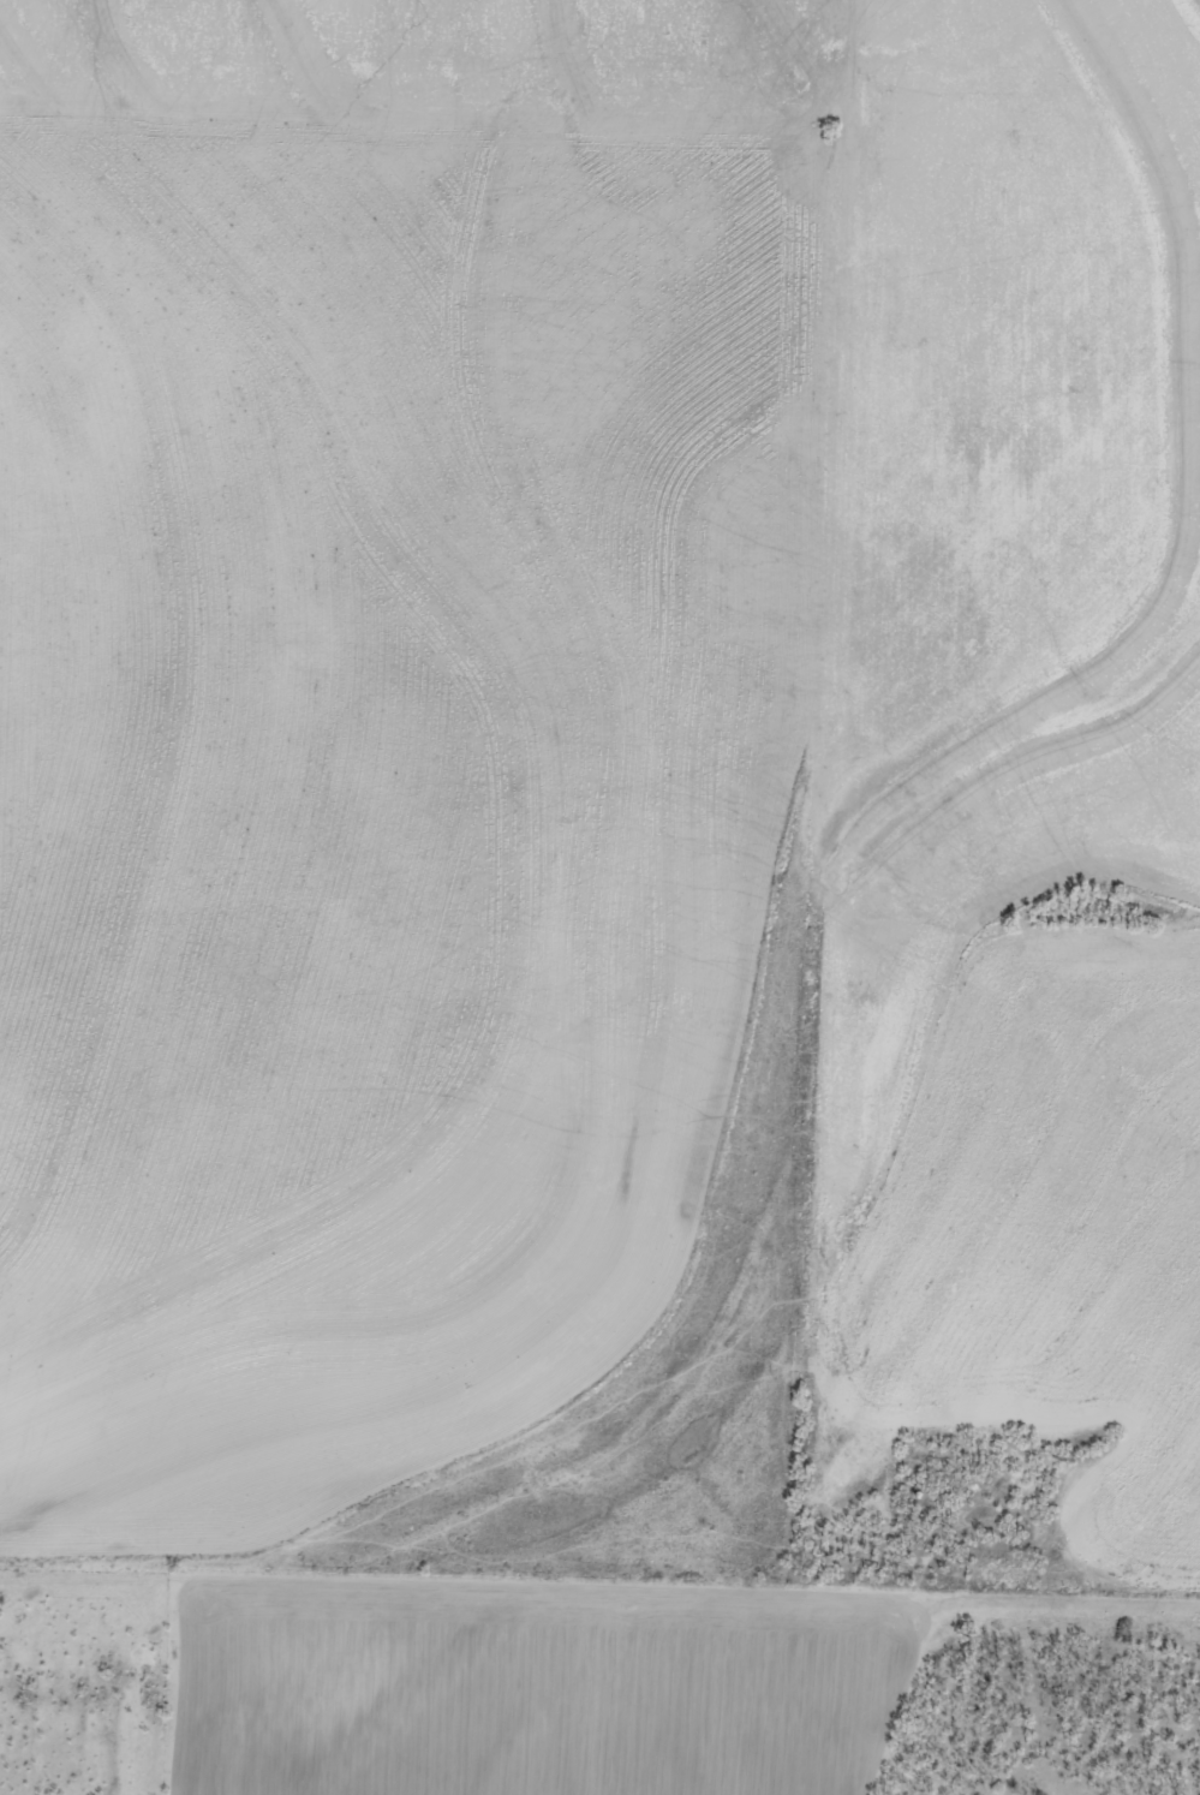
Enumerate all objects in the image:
road: (390, 1574)

